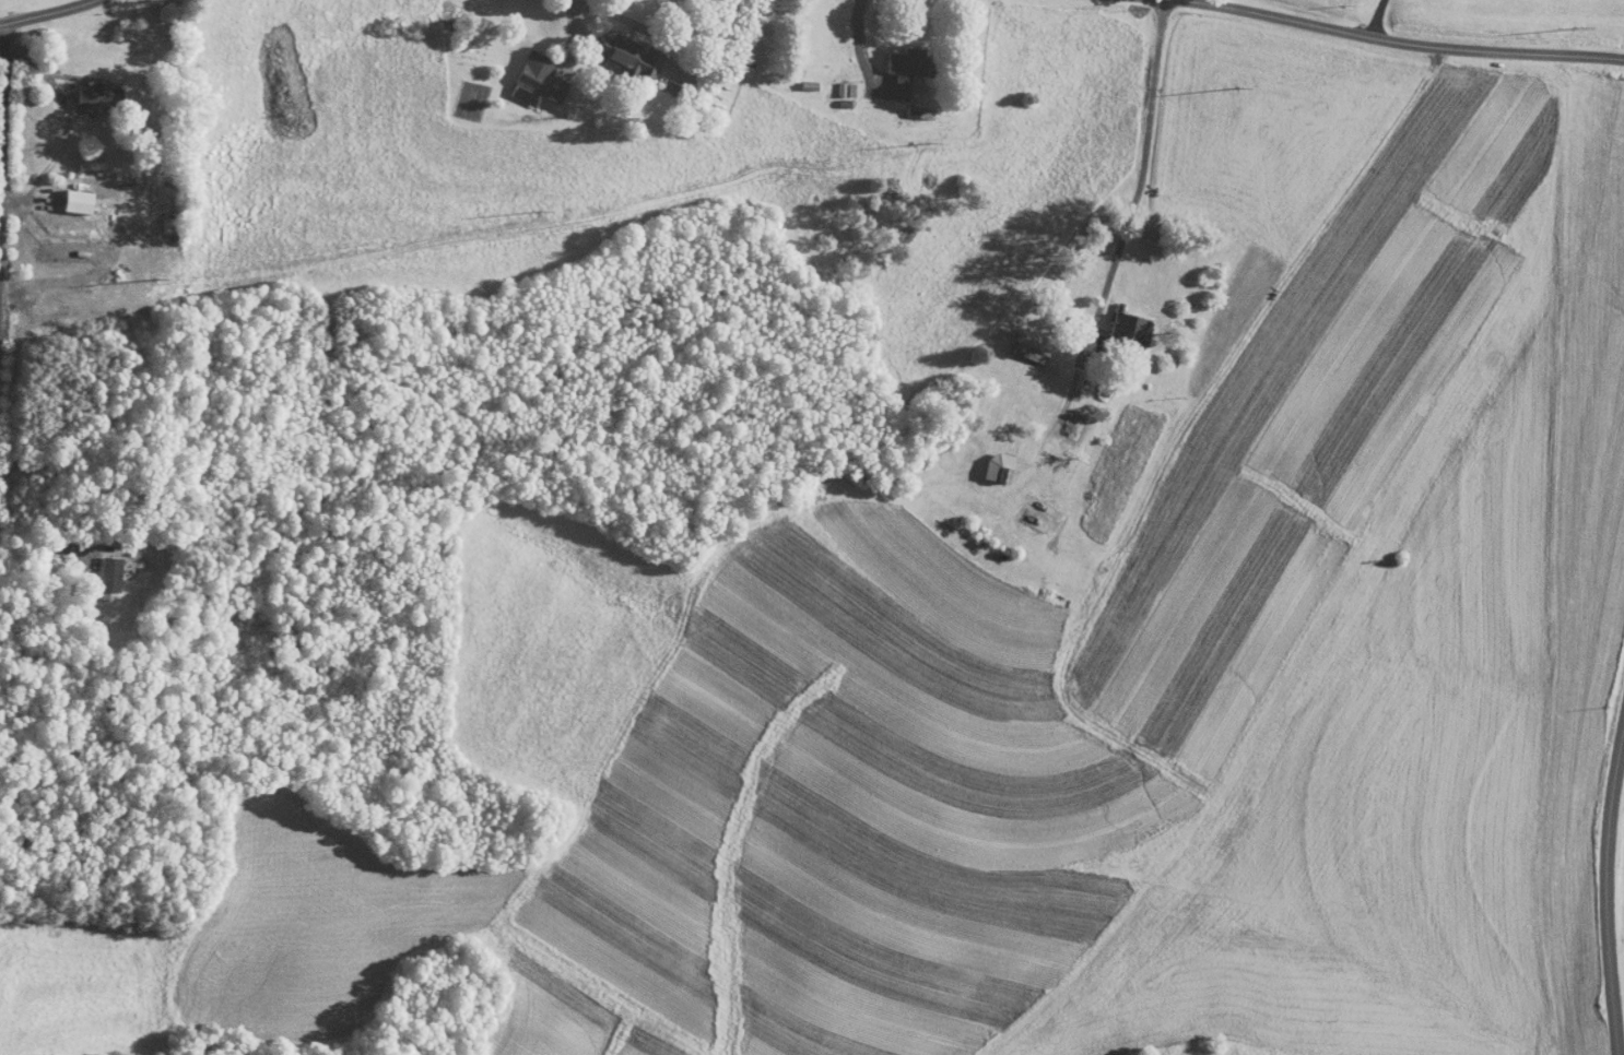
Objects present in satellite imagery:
road: (46, 14)
road: (1376, 17)
road: (661, 36)
road: (859, 44)
building: (622, 47)
road: (1443, 50)
building: (897, 61)
building: (528, 73)
building: (835, 82)
building: (90, 88)
power tower: (1163, 100)
road: (54, 117)
road: (1103, 119)
power tower: (979, 133)
power tower: (831, 159)
building: (70, 193)
power tower: (457, 224)
road: (1122, 238)
building: (1119, 320)
building: (1023, 340)
building: (1062, 418)
building: (989, 460)
road: (46, 545)
building: (101, 566)
road: (1604, 892)

